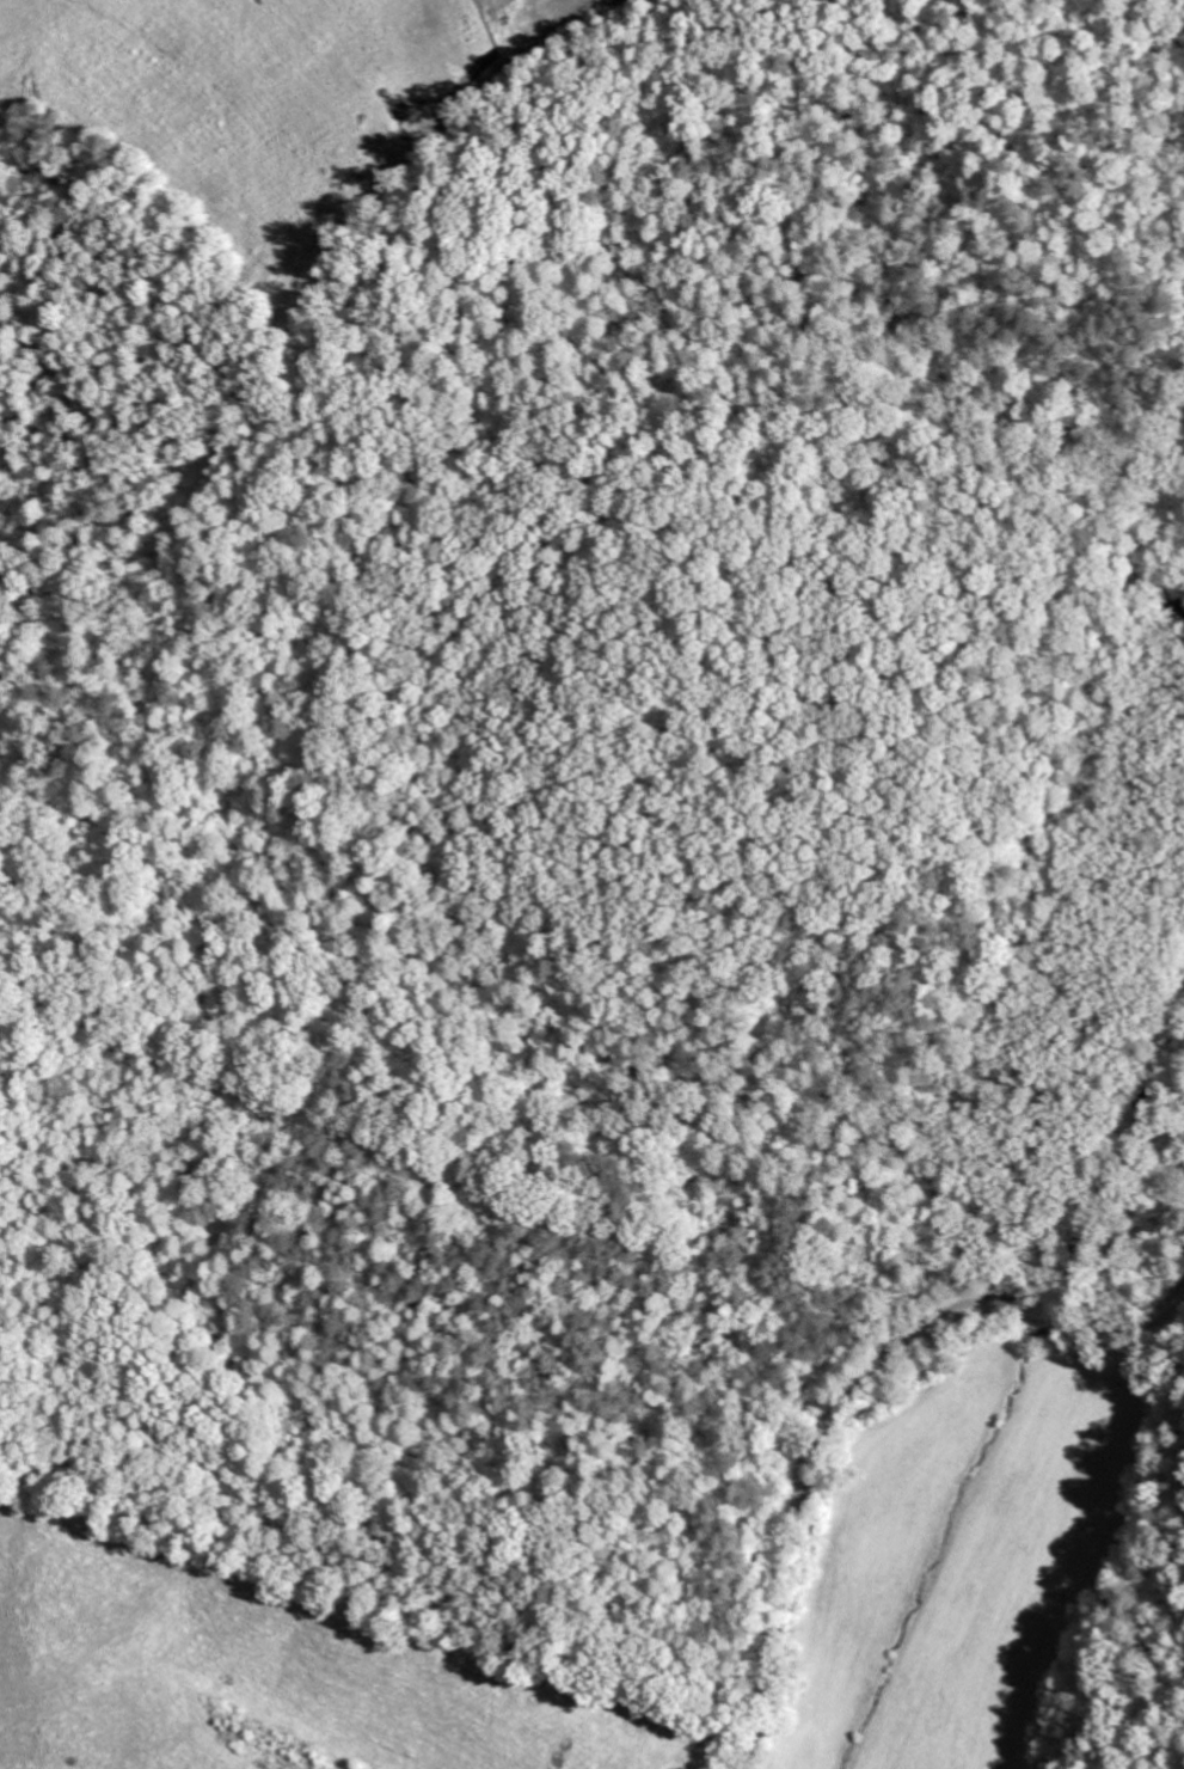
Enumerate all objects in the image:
road: (846, 1402)

